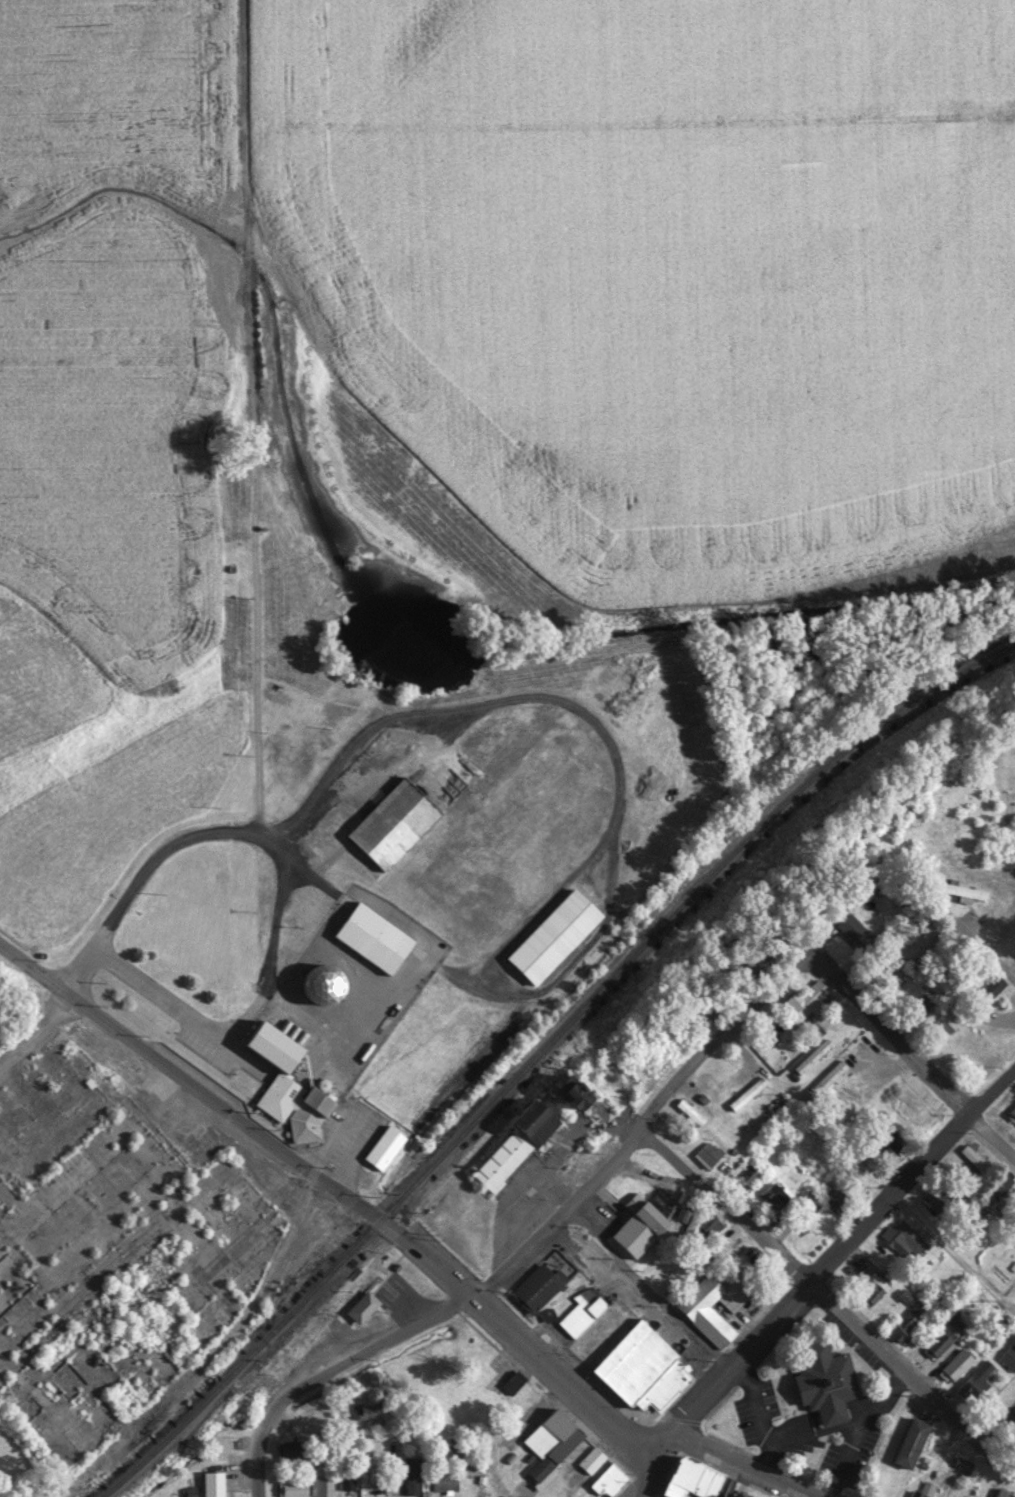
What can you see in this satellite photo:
building: (393, 823)
building: (496, 875)
building: (964, 889)
road: (269, 920)
building: (855, 928)
building: (555, 934)
building: (375, 935)
road: (986, 945)
railway: (651, 946)
building: (326, 982)
building: (994, 984)
road: (71, 996)
building: (804, 999)
road: (52, 1011)
building: (947, 1019)
railway: (541, 1046)
road: (911, 1054)
building: (810, 1056)
building: (822, 1079)
building: (290, 1084)
building: (581, 1092)
building: (744, 1097)
building: (907, 1104)
building: (1013, 1108)
building: (689, 1111)
road: (645, 1113)
building: (517, 1144)
building: (889, 1145)
building: (384, 1146)
building: (707, 1153)
building: (973, 1156)
road: (306, 1167)
building: (749, 1173)
building: (996, 1180)
building: (772, 1193)
building: (835, 1197)
building: (934, 1199)
building: (640, 1227)
building: (126, 1230)
building: (903, 1238)
road: (839, 1249)
road: (953, 1252)
road: (803, 1281)
building: (538, 1285)
building: (871, 1287)
road: (634, 1296)
road: (466, 1302)
building: (695, 1308)
building: (581, 1310)
building: (909, 1316)
building: (939, 1340)
building: (1008, 1356)
building: (635, 1361)
building: (957, 1362)
road: (320, 1367)
building: (462, 1368)
road: (553, 1380)
building: (826, 1381)
building: (975, 1381)
building: (472, 1386)
building: (666, 1386)
building: (367, 1412)
road: (995, 1416)
building: (65, 1429)
building: (550, 1430)
road: (870, 1435)
road: (649, 1440)
building: (912, 1441)
building: (291, 1448)
building: (940, 1449)
road: (995, 1453)
building: (555, 1458)
building: (590, 1459)
road: (738, 1460)
building: (962, 1464)
building: (370, 1473)
building: (411, 1474)
road: (635, 1474)
building: (346, 1478)
building: (693, 1478)
building: (610, 1479)
building: (321, 1481)
building: (444, 1481)
building: (213, 1483)
building: (293, 1488)
building: (924, 1490)
building: (1002, 1493)

